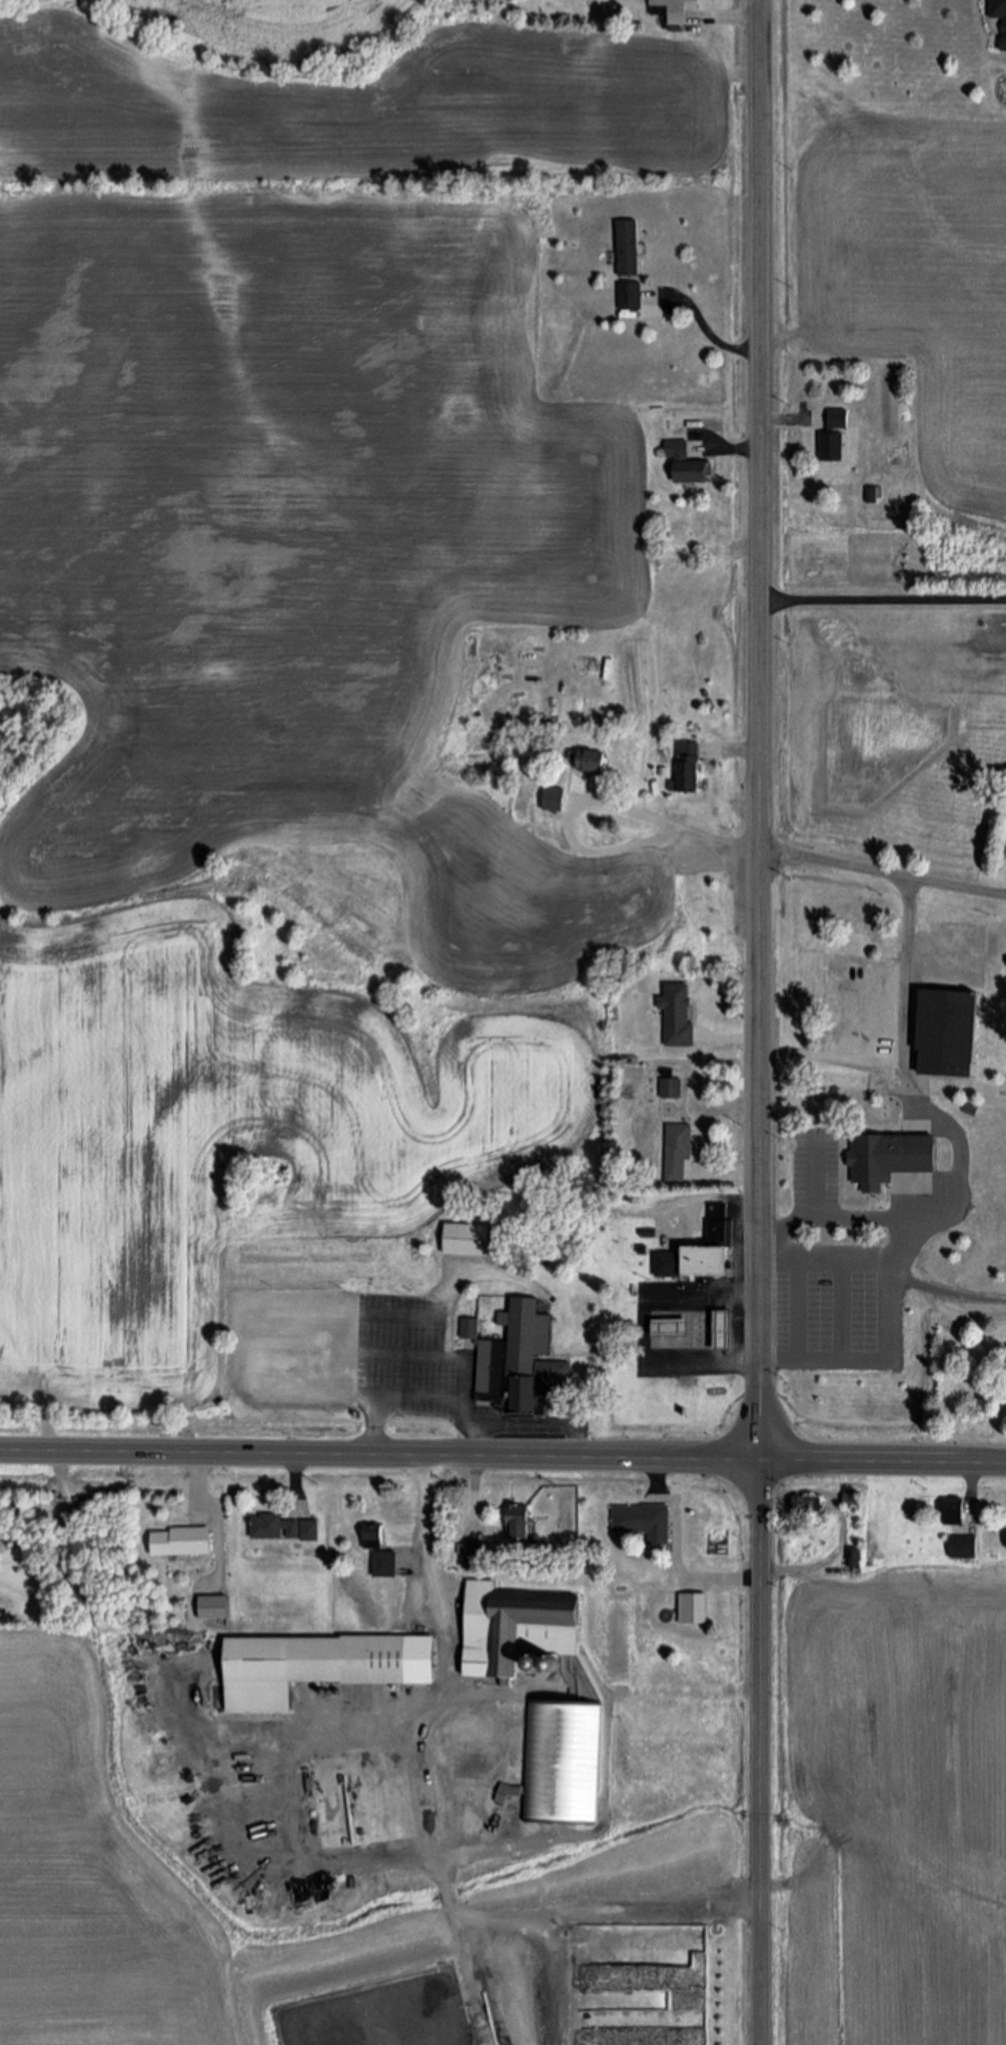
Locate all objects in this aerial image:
building: (676, 10)
building: (999, 16)
road: (737, 19)
crop: (269, 22)
building: (628, 248)
building: (630, 296)
road: (705, 328)
road: (782, 421)
building: (833, 438)
road: (738, 450)
building: (684, 464)
crop: (313, 469)
building: (873, 494)
road: (883, 603)
building: (590, 764)
building: (688, 767)
building: (555, 799)
road: (578, 803)
road: (871, 873)
road: (994, 897)
building: (678, 1016)
road: (761, 1022)
building: (947, 1034)
road: (881, 1055)
building: (671, 1089)
park: (880, 1137)
crop: (222, 1138)
building: (677, 1154)
road: (961, 1157)
building: (890, 1159)
road: (737, 1175)
road: (816, 1180)
road: (719, 1197)
road: (843, 1220)
building: (717, 1222)
building: (466, 1241)
building: (693, 1263)
road: (886, 1271)
road: (643, 1329)
building: (468, 1330)
building: (690, 1332)
building: (522, 1366)
park: (966, 1366)
road: (422, 1404)
road: (502, 1458)
road: (972, 1480)
road: (197, 1481)
road: (473, 1493)
building: (852, 1499)
building: (803, 1506)
building: (956, 1512)
building: (640, 1521)
building: (517, 1522)
road: (838, 1523)
building: (285, 1529)
building: (181, 1542)
building: (963, 1548)
building: (380, 1553)
building: (467, 1556)
building: (850, 1559)
road: (423, 1574)
building: (213, 1609)
building: (693, 1609)
building: (520, 1629)
building: (305, 1668)
building: (562, 1764)
building: (361, 1818)
crop: (81, 1884)
road: (581, 1913)

